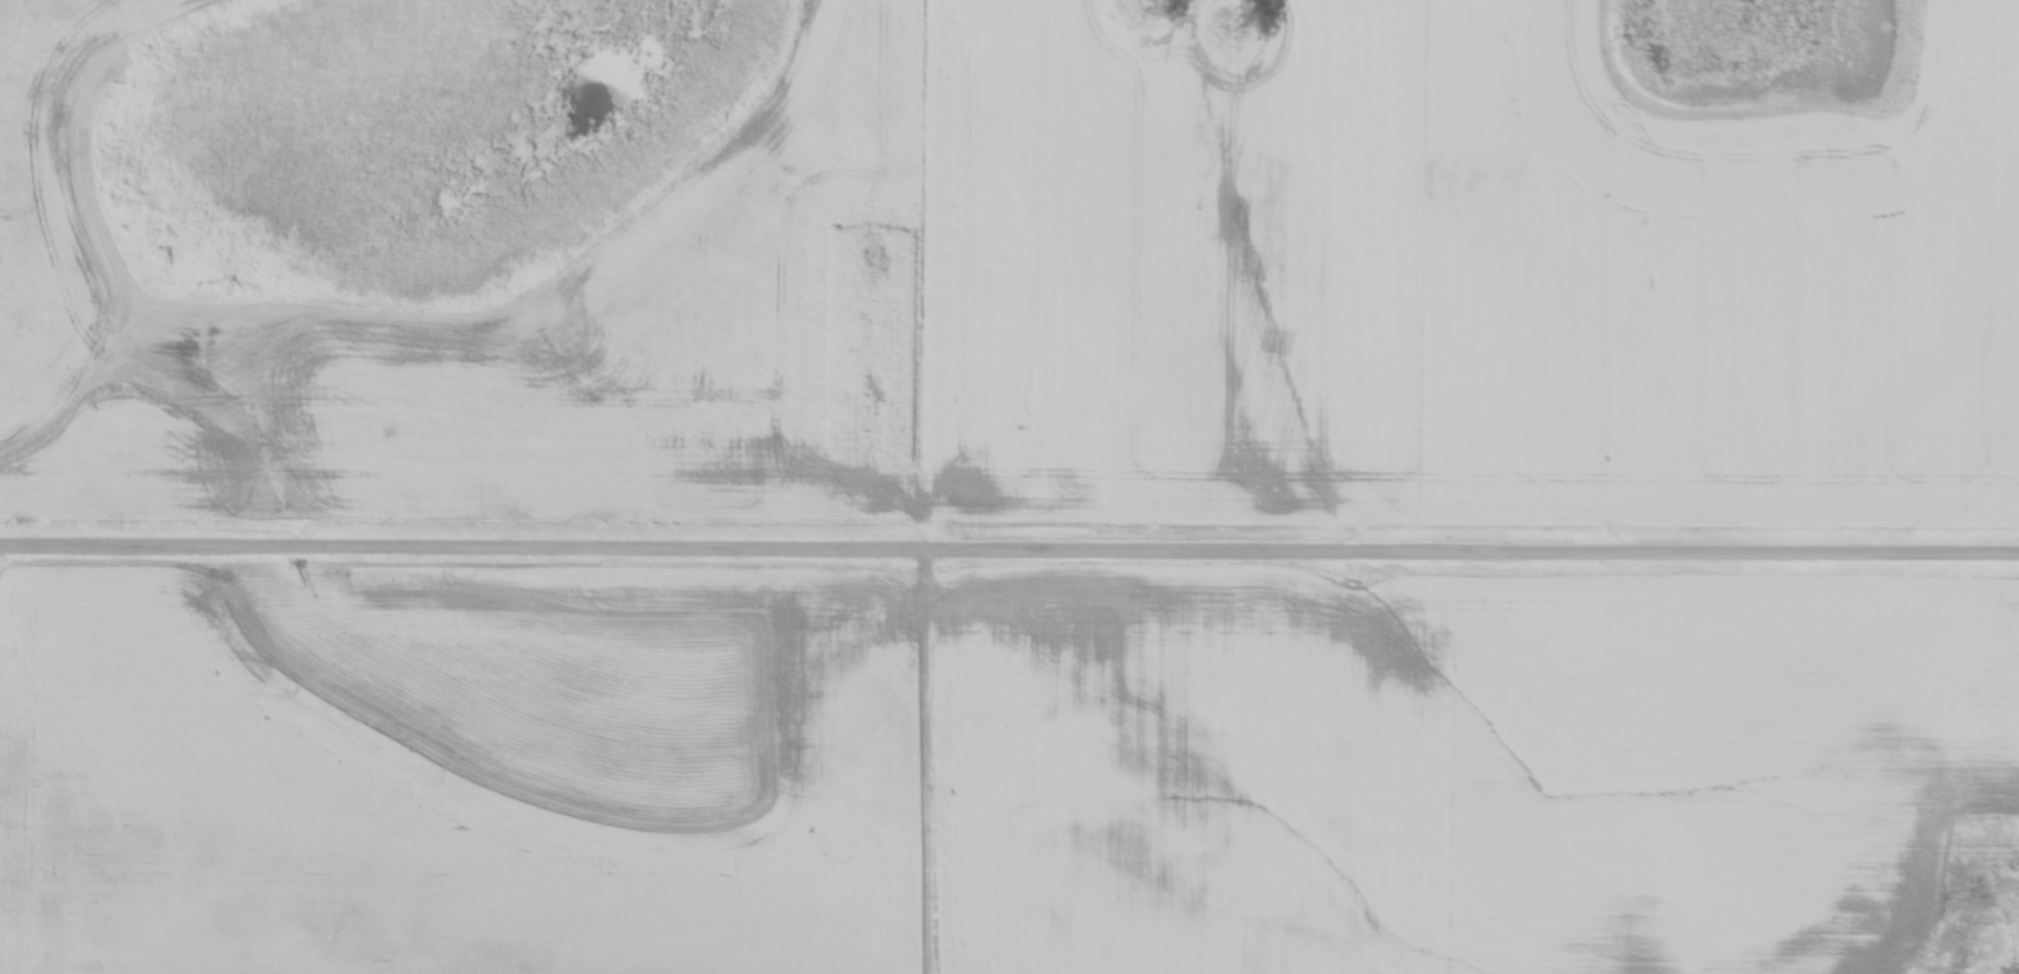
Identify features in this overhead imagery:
road: (1009, 553)
road: (927, 763)

